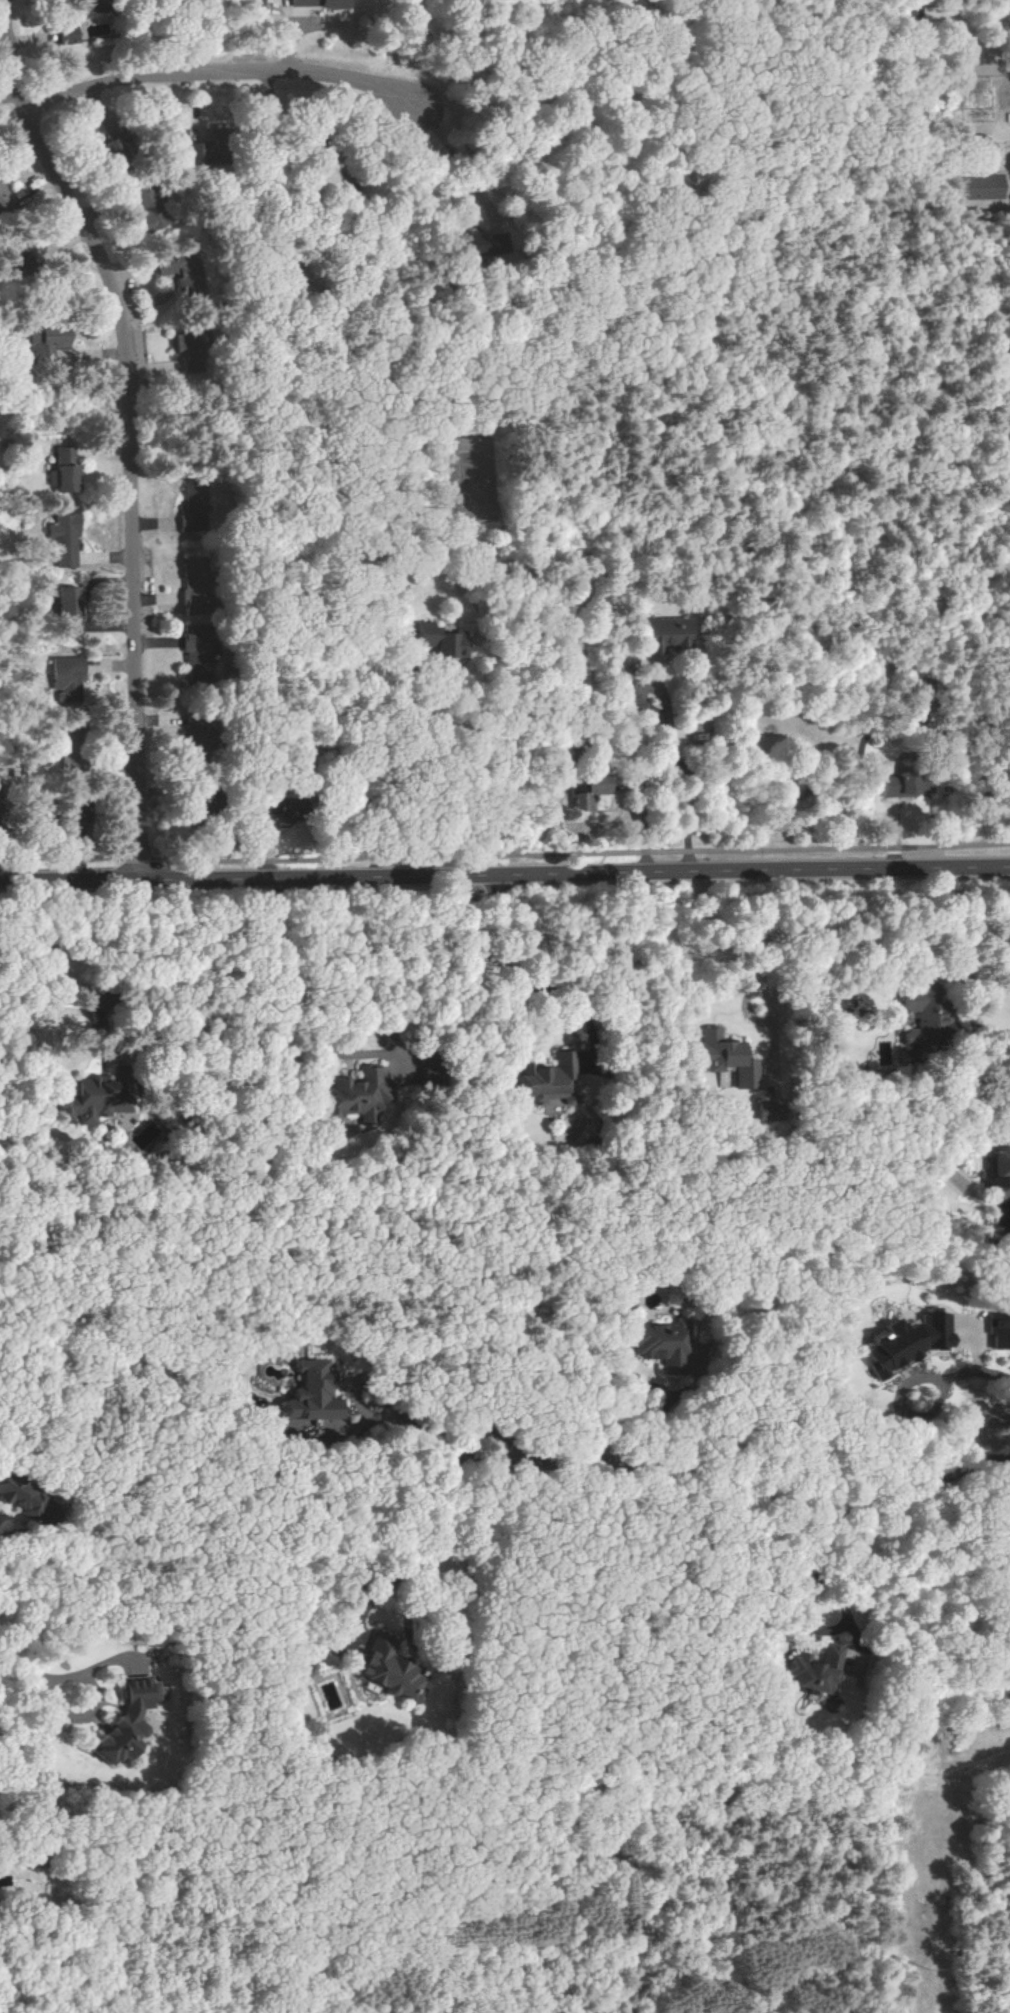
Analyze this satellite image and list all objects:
building: (321, 3)
building: (67, 34)
road: (332, 74)
road: (130, 80)
road: (465, 155)
building: (978, 187)
building: (3, 197)
building: (152, 221)
building: (469, 242)
building: (168, 266)
building: (47, 344)
road: (65, 400)
road: (130, 426)
building: (67, 470)
building: (198, 506)
building: (64, 538)
building: (198, 586)
building: (396, 596)
building: (72, 607)
building: (666, 633)
building: (436, 640)
building: (196, 650)
building: (69, 678)
road: (452, 773)
building: (909, 784)
road: (691, 787)
building: (588, 793)
road: (645, 816)
road: (504, 857)
road: (505, 871)
road: (55, 980)
road: (535, 982)
road: (283, 1003)
building: (922, 1018)
building: (720, 1058)
building: (546, 1079)
building: (357, 1096)
building: (93, 1100)
building: (998, 1168)
building: (998, 1332)
building: (903, 1342)
road: (642, 1385)
building: (311, 1395)
road: (426, 1432)
road: (753, 1494)
road: (84, 1571)
road: (421, 1581)
road: (0, 1594)
road: (0, 1595)
road: (377, 1597)
road: (846, 1613)
road: (23, 1666)
building: (387, 1668)
building: (814, 1670)
road: (96, 1704)
building: (130, 1720)

